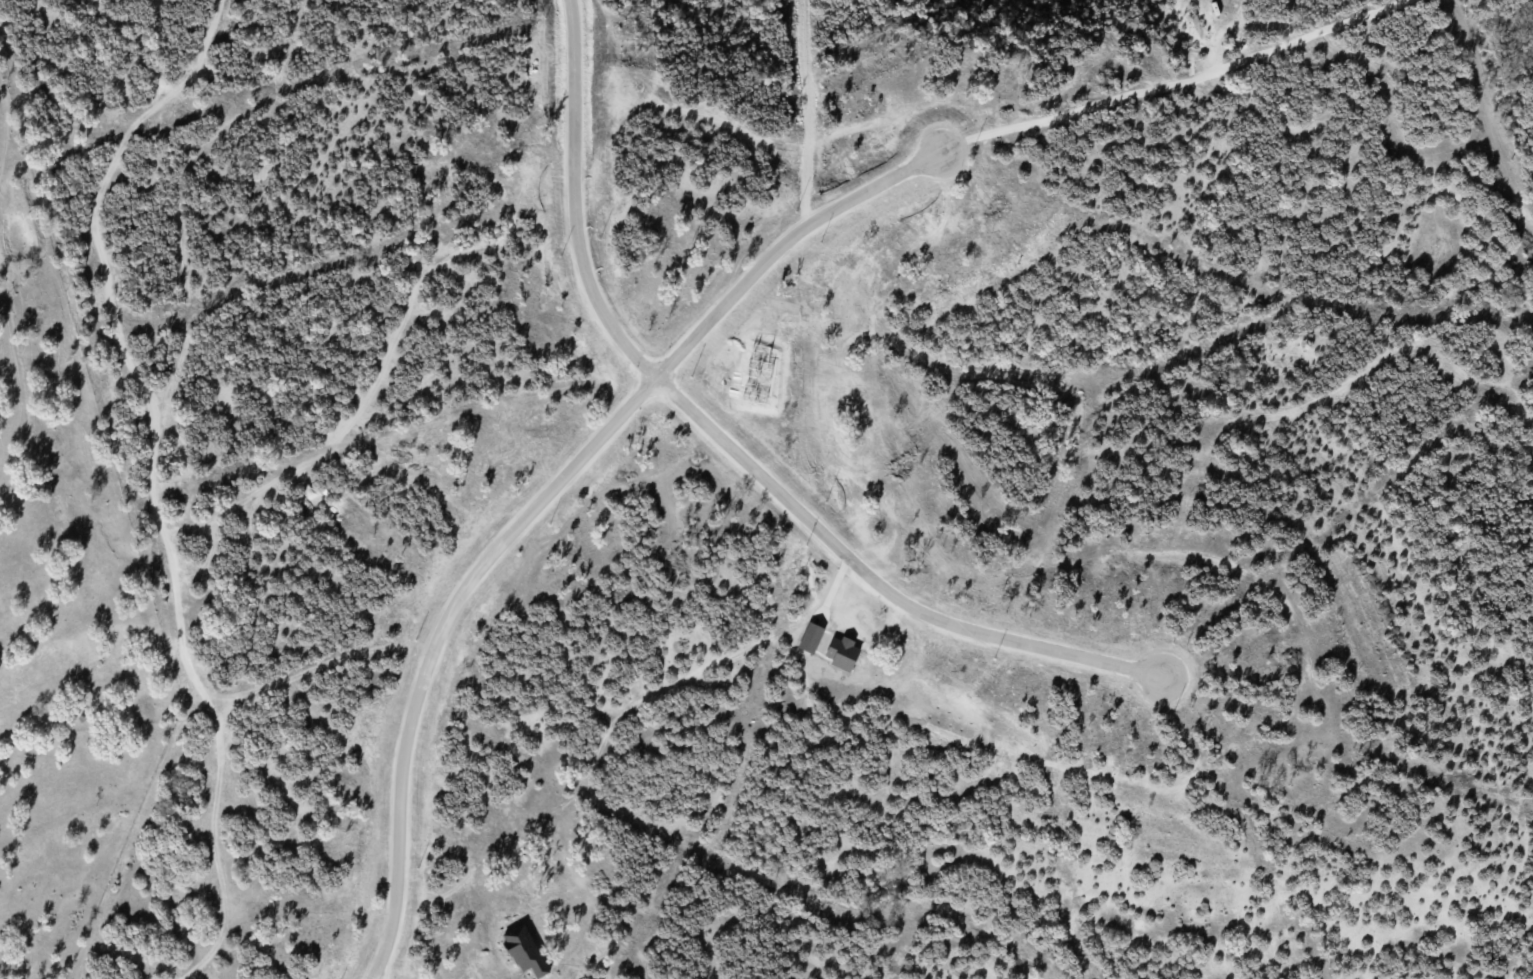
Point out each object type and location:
road: (729, 449)
road: (548, 499)

